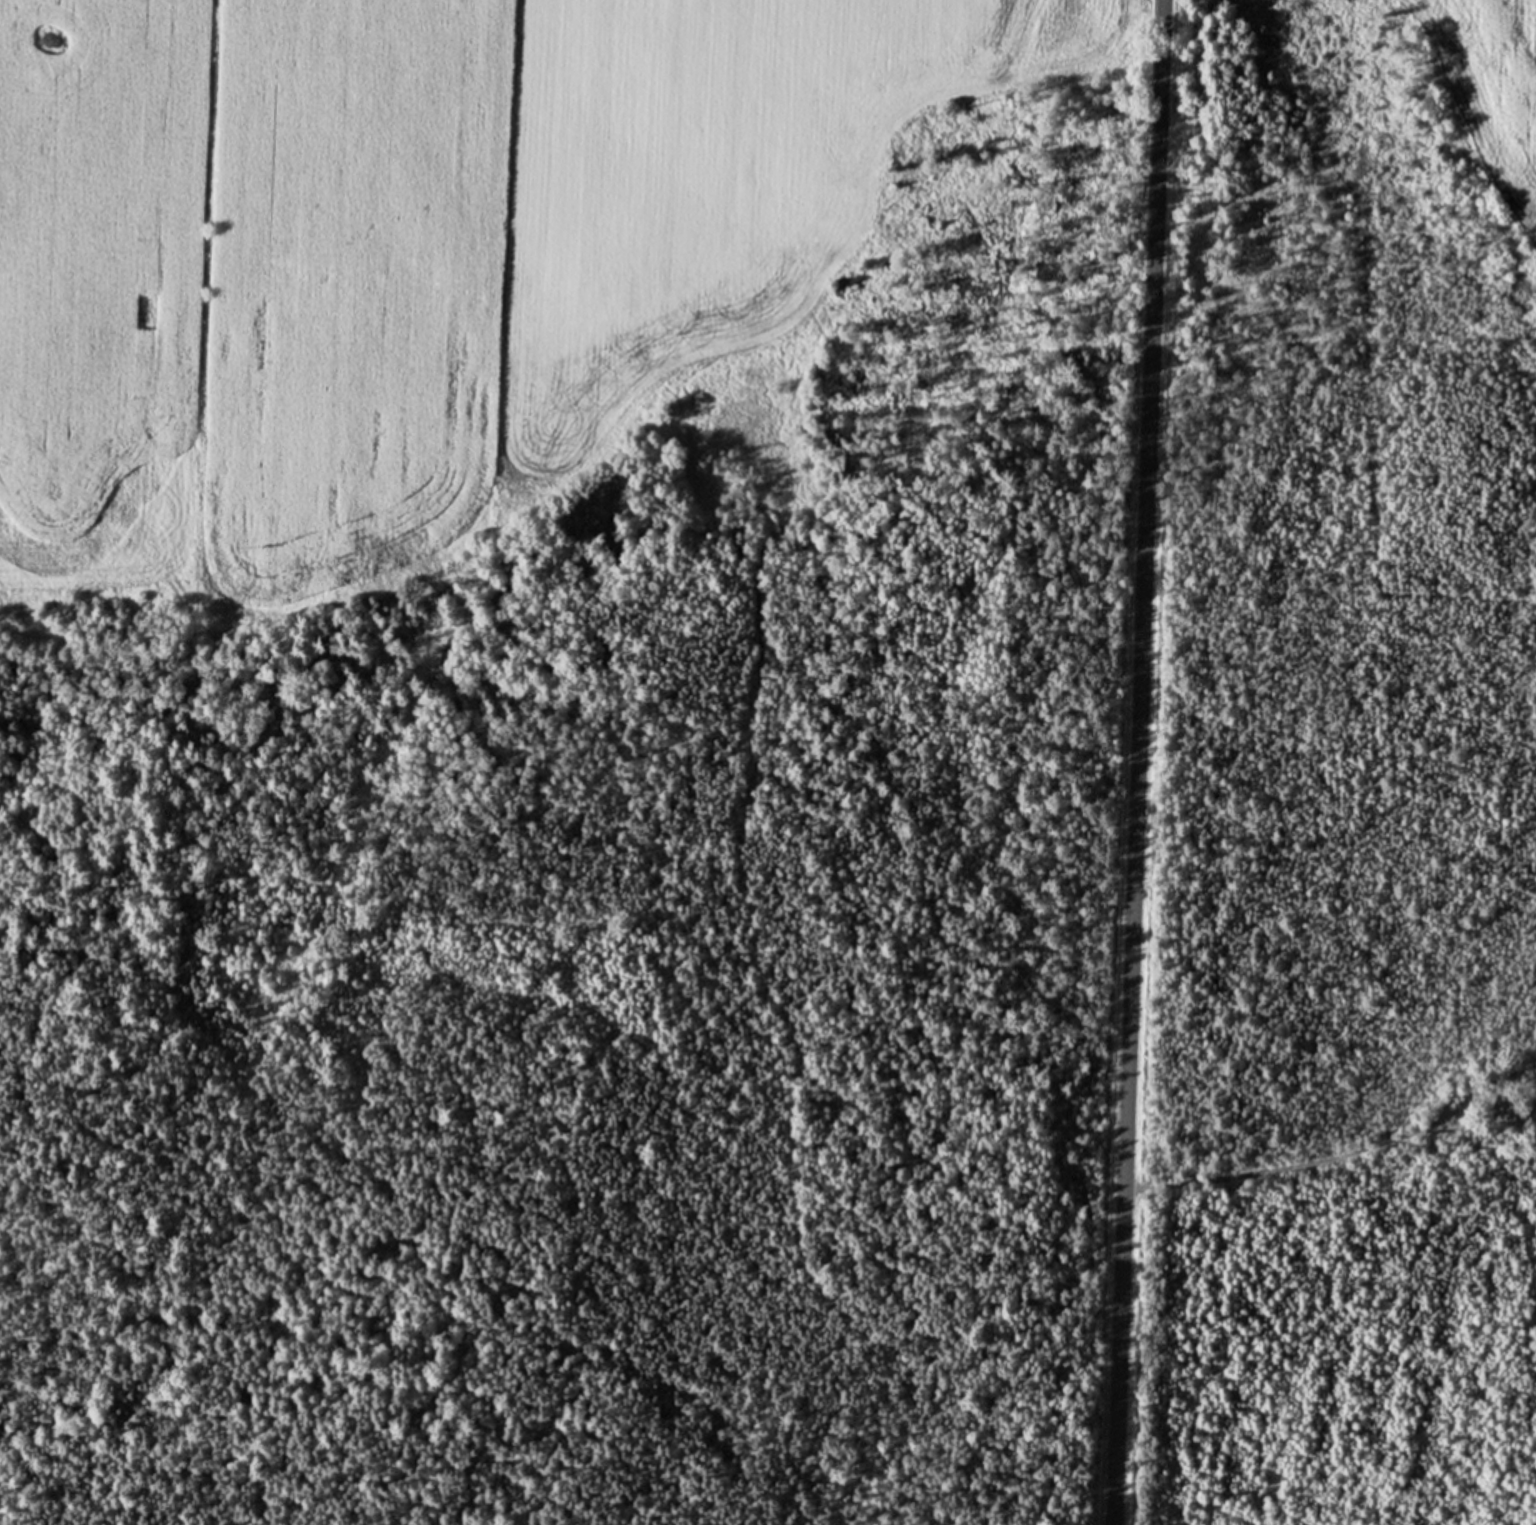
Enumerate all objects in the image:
road: (1135, 762)
road: (1333, 1157)

